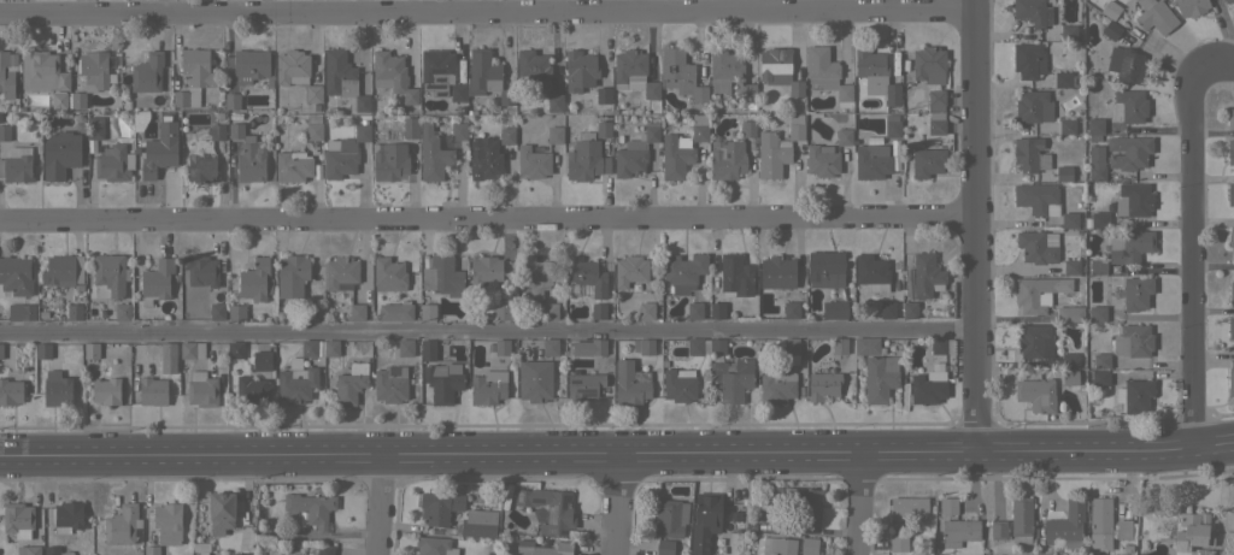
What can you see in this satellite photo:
building: (1229, 1)
building: (1191, 7)
road: (486, 8)
building: (1110, 8)
building: (1033, 12)
building: (1154, 16)
building: (1110, 29)
building: (1071, 31)
building: (1076, 53)
building: (1028, 60)
road: (1211, 63)
building: (928, 64)
building: (1127, 64)
building: (249, 65)
building: (292, 66)
building: (870, 66)
building: (95, 67)
building: (533, 69)
building: (580, 70)
building: (778, 70)
building: (42, 71)
building: (436, 71)
building: (147, 72)
building: (482, 72)
building: (633, 72)
building: (824, 72)
building: (6, 73)
building: (339, 73)
building: (680, 73)
building: (392, 75)
building: (729, 75)
building: (193, 76)
building: (1062, 78)
rooftop solar panel: (777, 79)
building: (363, 83)
building: (268, 84)
building: (458, 93)
building: (313, 94)
building: (603, 94)
building: (891, 94)
building: (505, 96)
building: (77, 99)
building: (936, 99)
building: (59, 100)
building: (231, 100)
building: (362, 102)
building: (554, 102)
building: (125, 104)
building: (1129, 105)
building: (1033, 106)
building: (458, 111)
building: (166, 114)
building: (139, 116)
building: (233, 116)
building: (1230, 118)
building: (936, 123)
building: (892, 125)
building: (1070, 125)
building: (1094, 125)
building: (794, 126)
building: (94, 128)
building: (312, 128)
building: (410, 128)
building: (601, 129)
building: (747, 129)
building: (458, 130)
building: (216, 131)
building: (651, 131)
building: (4, 132)
building: (362, 132)
building: (699, 132)
building: (506, 135)
building: (554, 135)
building: (844, 136)
building: (135, 144)
building: (201, 146)
building: (159, 149)
building: (1128, 152)
building: (1230, 152)
building: (59, 154)
building: (431, 154)
building: (770, 154)
building: (1029, 154)
building: (247, 155)
building: (675, 155)
building: (340, 158)
building: (483, 158)
building: (584, 158)
building: (629, 159)
building: (727, 159)
building: (871, 159)
building: (388, 160)
building: (821, 160)
building: (533, 161)
building: (925, 161)
building: (113, 163)
building: (1095, 164)
building: (16, 165)
building: (295, 166)
building: (201, 167)
building: (1063, 173)
building: (1230, 193)
building: (1036, 197)
building: (1133, 199)
road: (484, 217)
building: (1069, 219)
building: (1099, 219)
building: (1086, 223)
road: (970, 228)
building: (1230, 236)
building: (1036, 246)
building: (1129, 246)
road: (1186, 255)
building: (1070, 266)
building: (1097, 266)
building: (824, 268)
building: (1110, 268)
building: (61, 270)
building: (201, 270)
building: (629, 270)
building: (340, 271)
building: (682, 271)
building: (486, 272)
building: (776, 272)
building: (871, 272)
building: (108, 274)
building: (292, 274)
building: (388, 274)
building: (534, 274)
building: (586, 274)
building: (735, 274)
building: (925, 274)
building: (16, 276)
building: (442, 276)
building: (157, 281)
building: (254, 281)
building: (1232, 288)
building: (1036, 291)
building: (1135, 291)
building: (598, 309)
building: (717, 309)
building: (791, 309)
building: (834, 309)
building: (887, 309)
building: (909, 309)
building: (217, 311)
building: (395, 311)
building: (427, 311)
building: (501, 311)
building: (550, 311)
building: (646, 311)
building: (693, 311)
building: (20, 312)
building: (74, 312)
building: (122, 312)
building: (236, 312)
building: (308, 312)
building: (357, 312)
building: (1069, 313)
building: (1097, 313)
building: (1230, 327)
road: (486, 330)
building: (1033, 341)
building: (1133, 341)
building: (501, 346)
building: (598, 346)
building: (644, 346)
building: (697, 346)
building: (717, 346)
building: (791, 346)
building: (839, 346)
building: (866, 346)
building: (938, 346)
building: (330, 347)
building: (405, 347)
building: (550, 347)
building: (308, 348)
building: (90, 349)
building: (192, 349)
building: (235, 349)
building: (428, 349)
building: (1, 350)
building: (42, 350)
building: (168, 358)
building: (262, 360)
building: (1070, 360)
building: (1100, 360)
building: (1052, 364)
building: (1069, 377)
building: (1100, 377)
building: (731, 378)
building: (880, 378)
building: (534, 379)
building: (442, 380)
building: (823, 382)
building: (1230, 382)
building: (296, 383)
building: (349, 383)
building: (630, 383)
building: (390, 384)
building: (582, 384)
building: (678, 384)
building: (777, 385)
building: (488, 386)
building: (928, 386)
building: (57, 389)
building: (201, 389)
building: (106, 390)
building: (251, 390)
building: (11, 391)
building: (152, 391)
building: (1036, 394)
building: (1136, 394)
road: (617, 459)
building: (788, 492)
building: (772, 495)
road: (381, 506)
building: (809, 506)
road: (858, 506)
building: (311, 507)
building: (439, 507)
road: (613, 507)
building: (909, 507)
building: (548, 508)
building: (221, 510)
building: (66, 516)
building: (1099, 516)
building: (18, 519)
building: (668, 519)
building: (1021, 519)
building: (704, 521)
building: (168, 522)
building: (478, 522)
building: (1066, 522)
building: (956, 524)
building: (123, 525)
building: (1123, 529)
building: (998, 530)
park: (1232, 532)
parking lot: (1232, 532)
rooftop solar panel: (137, 533)
building: (1193, 535)
building: (898, 542)
building: (434, 545)
building: (765, 545)
building: (783, 545)
building: (809, 545)
building: (664, 547)
building: (542, 548)
building: (325, 549)
building: (28, 550)
building: (55, 550)
building: (151, 550)

